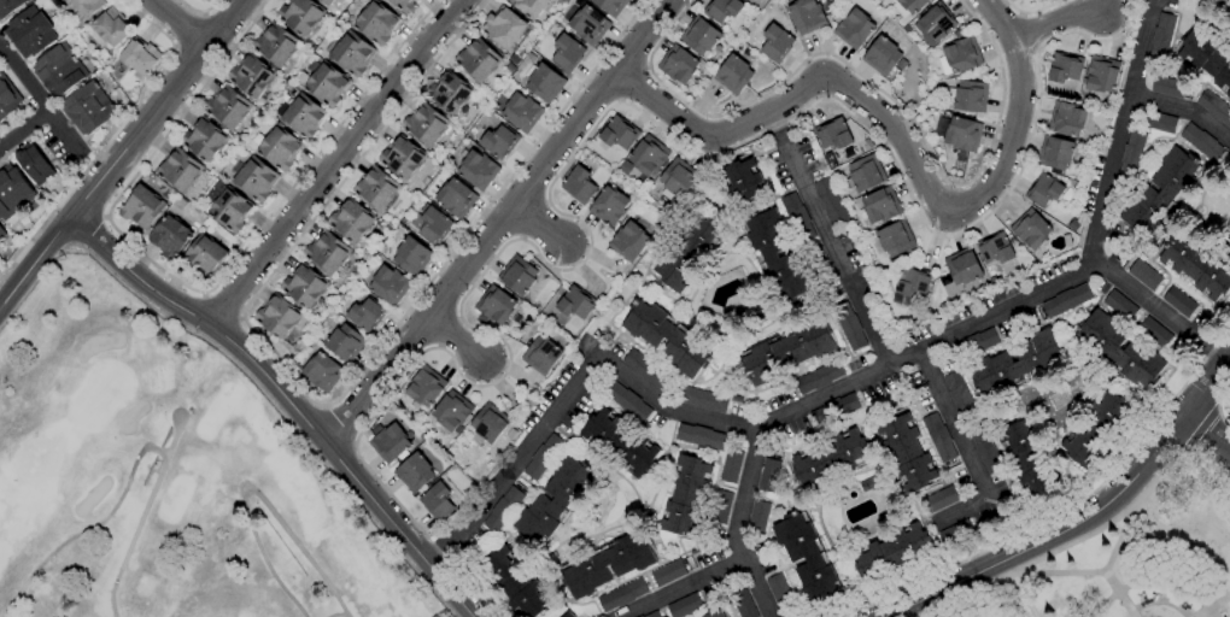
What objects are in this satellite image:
building: (199, 0)
building: (200, 0)
building: (1036, 0)
building: (326, 2)
road: (1226, 2)
building: (404, 5)
building: (8, 6)
building: (87, 6)
building: (610, 6)
building: (828, 6)
building: (908, 6)
building: (529, 7)
building: (724, 10)
road: (198, 11)
road: (1031, 11)
building: (300, 16)
building: (806, 16)
road: (182, 20)
road: (1056, 20)
building: (376, 23)
building: (588, 25)
building: (935, 25)
building: (111, 27)
building: (504, 27)
building: (853, 28)
building: (29, 33)
building: (699, 36)
building: (1161, 37)
building: (775, 43)
building: (276, 45)
building: (351, 53)
building: (567, 53)
building: (140, 55)
building: (960, 55)
building: (881, 57)
building: (1207, 57)
building: (478, 60)
building: (901, 64)
road: (646, 65)
building: (678, 65)
building: (1065, 67)
building: (59, 70)
building: (1101, 74)
building: (733, 75)
building: (251, 76)
road: (632, 82)
building: (545, 83)
building: (327, 84)
road: (871, 84)
building: (1167, 87)
building: (450, 93)
building: (967, 95)
road: (39, 98)
building: (7, 99)
road: (620, 101)
building: (227, 107)
road: (1183, 107)
building: (1214, 107)
building: (89, 110)
building: (522, 112)
building: (301, 116)
building: (1066, 118)
building: (1159, 122)
building: (426, 124)
road: (25, 129)
building: (619, 133)
building: (833, 134)
building: (959, 134)
road: (110, 137)
road: (901, 137)
building: (205, 140)
building: (499, 142)
building: (1201, 142)
building: (280, 148)
road: (574, 152)
building: (1055, 152)
road: (119, 153)
road: (94, 155)
building: (1131, 155)
building: (649, 157)
building: (402, 158)
building: (828, 158)
road: (333, 161)
building: (35, 164)
building: (625, 168)
building: (478, 170)
building: (180, 171)
building: (865, 174)
building: (678, 178)
building: (256, 180)
building: (742, 180)
building: (579, 186)
building: (376, 188)
building: (1043, 190)
building: (1160, 193)
building: (12, 194)
building: (456, 198)
building: (830, 202)
building: (609, 206)
building: (880, 206)
building: (142, 207)
building: (230, 211)
building: (797, 217)
road: (105, 218)
building: (351, 221)
road: (499, 223)
road: (1101, 223)
building: (432, 225)
road: (537, 225)
building: (1031, 229)
road: (86, 230)
building: (1, 233)
building: (170, 236)
building: (1229, 236)
road: (826, 239)
building: (895, 240)
building: (628, 241)
building: (1228, 241)
road: (72, 245)
building: (995, 249)
building: (327, 253)
building: (689, 253)
building: (412, 255)
building: (205, 257)
building: (777, 257)
building: (1195, 265)
building: (962, 266)
building: (517, 275)
building: (1144, 275)
building: (389, 284)
building: (304, 286)
building: (910, 286)
road: (194, 290)
building: (1066, 300)
building: (1179, 301)
building: (576, 302)
road: (223, 306)
building: (493, 306)
building: (1120, 306)
road: (1160, 313)
building: (367, 315)
building: (277, 317)
building: (849, 328)
building: (1154, 333)
road: (456, 337)
building: (668, 337)
building: (345, 343)
building: (972, 345)
building: (1120, 349)
building: (786, 351)
building: (541, 355)
building: (1017, 364)
building: (645, 369)
building: (322, 371)
building: (819, 377)
building: (426, 387)
building: (960, 396)
road: (286, 399)
building: (702, 399)
building: (627, 402)
road: (1218, 404)
road: (322, 405)
road: (274, 410)
building: (834, 410)
building: (451, 411)
road: (339, 424)
building: (487, 425)
road: (1200, 428)
building: (1095, 429)
road: (763, 433)
road: (1207, 433)
building: (699, 436)
building: (938, 437)
building: (389, 443)
building: (620, 443)
road: (971, 447)
building: (984, 449)
building: (906, 452)
building: (543, 457)
building: (830, 459)
building: (1029, 459)
road: (519, 465)
building: (731, 465)
building: (414, 474)
building: (768, 476)
park: (163, 477)
building: (872, 482)
road: (252, 490)
building: (686, 496)
building: (939, 499)
building: (555, 501)
building: (437, 503)
road: (1066, 506)
building: (720, 507)
building: (502, 510)
building: (757, 516)
road: (1085, 516)
road: (140, 517)
road: (742, 527)
road: (87, 529)
building: (956, 533)
road: (1086, 535)
road: (1117, 543)
building: (891, 552)
park: (1135, 557)
building: (807, 559)
building: (608, 564)
building: (668, 574)
road: (1080, 575)
building: (514, 583)
road: (1149, 583)
road: (689, 589)
building: (779, 592)
building: (621, 595)
road: (1024, 599)
building: (743, 604)
building: (684, 605)
road: (1211, 605)
building: (714, 613)
road: (336, 615)
building: (569, 615)
building: (652, 615)
building: (640, 616)

